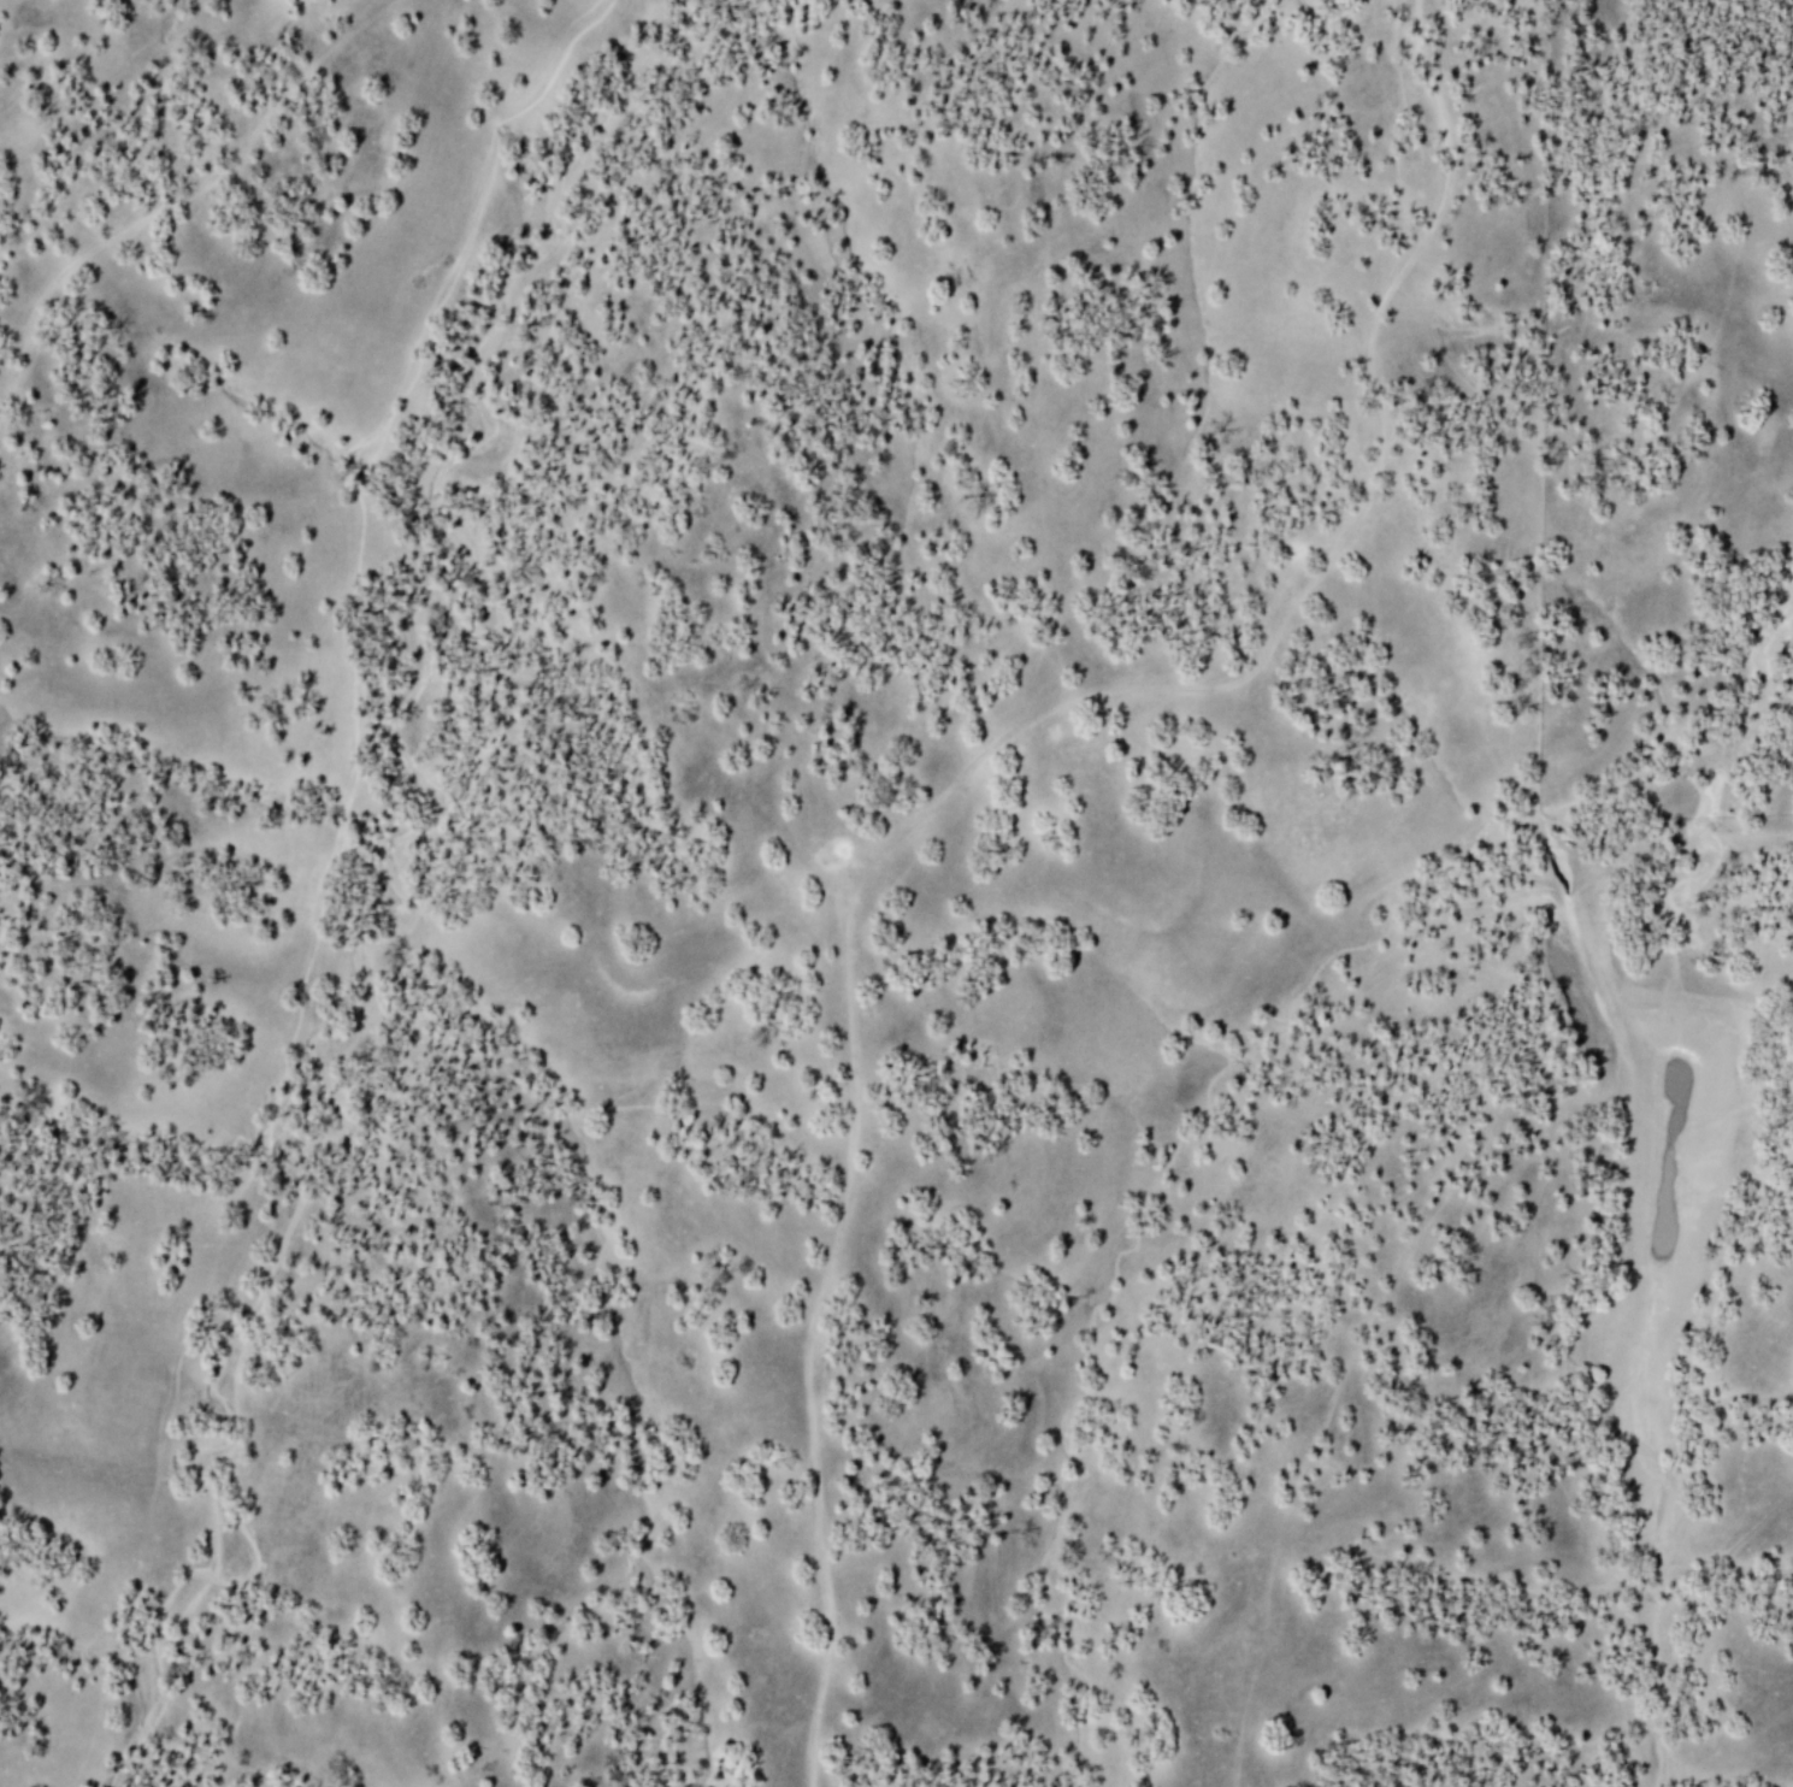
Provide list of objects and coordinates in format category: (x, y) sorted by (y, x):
road: (869, 844)

